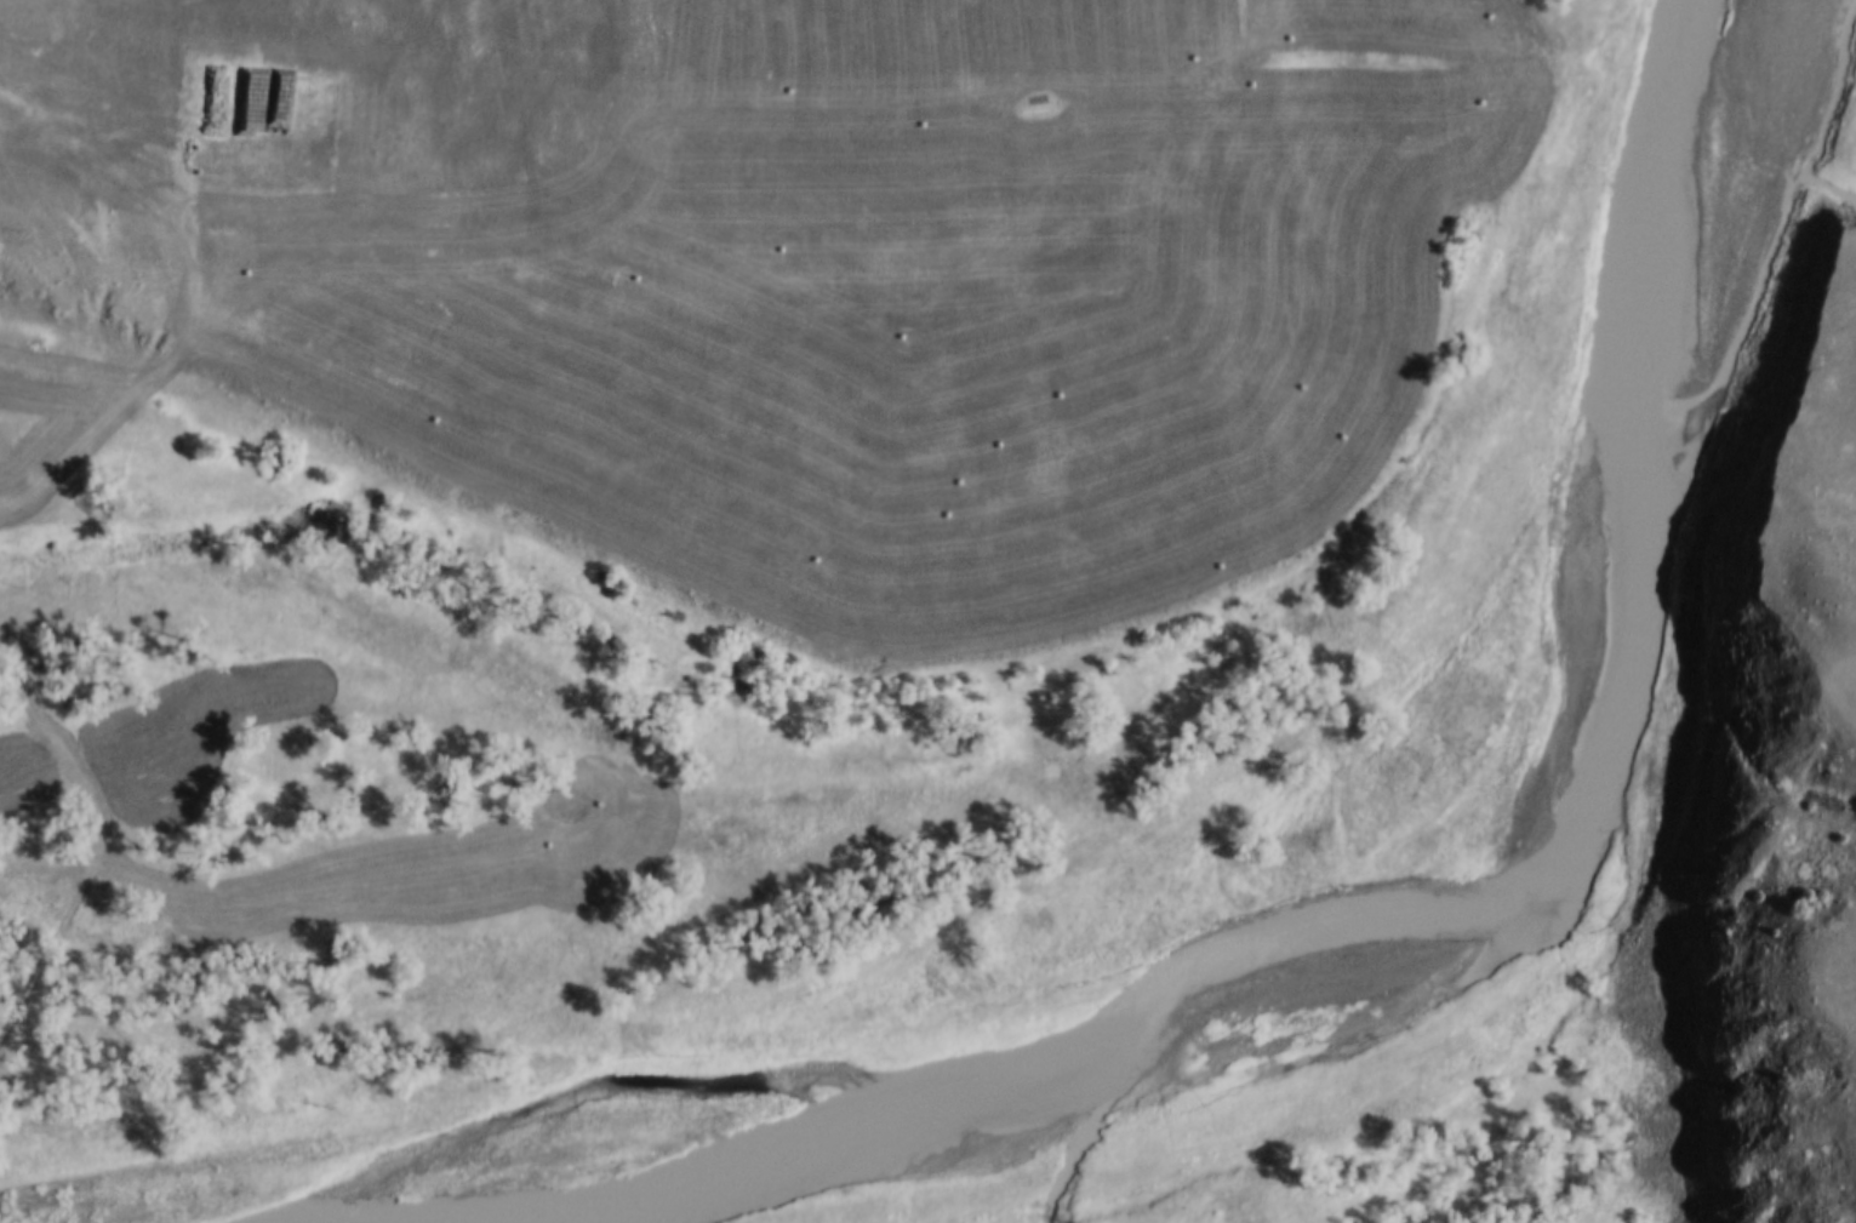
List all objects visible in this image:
river: (1753, 154)
river: (1477, 925)

